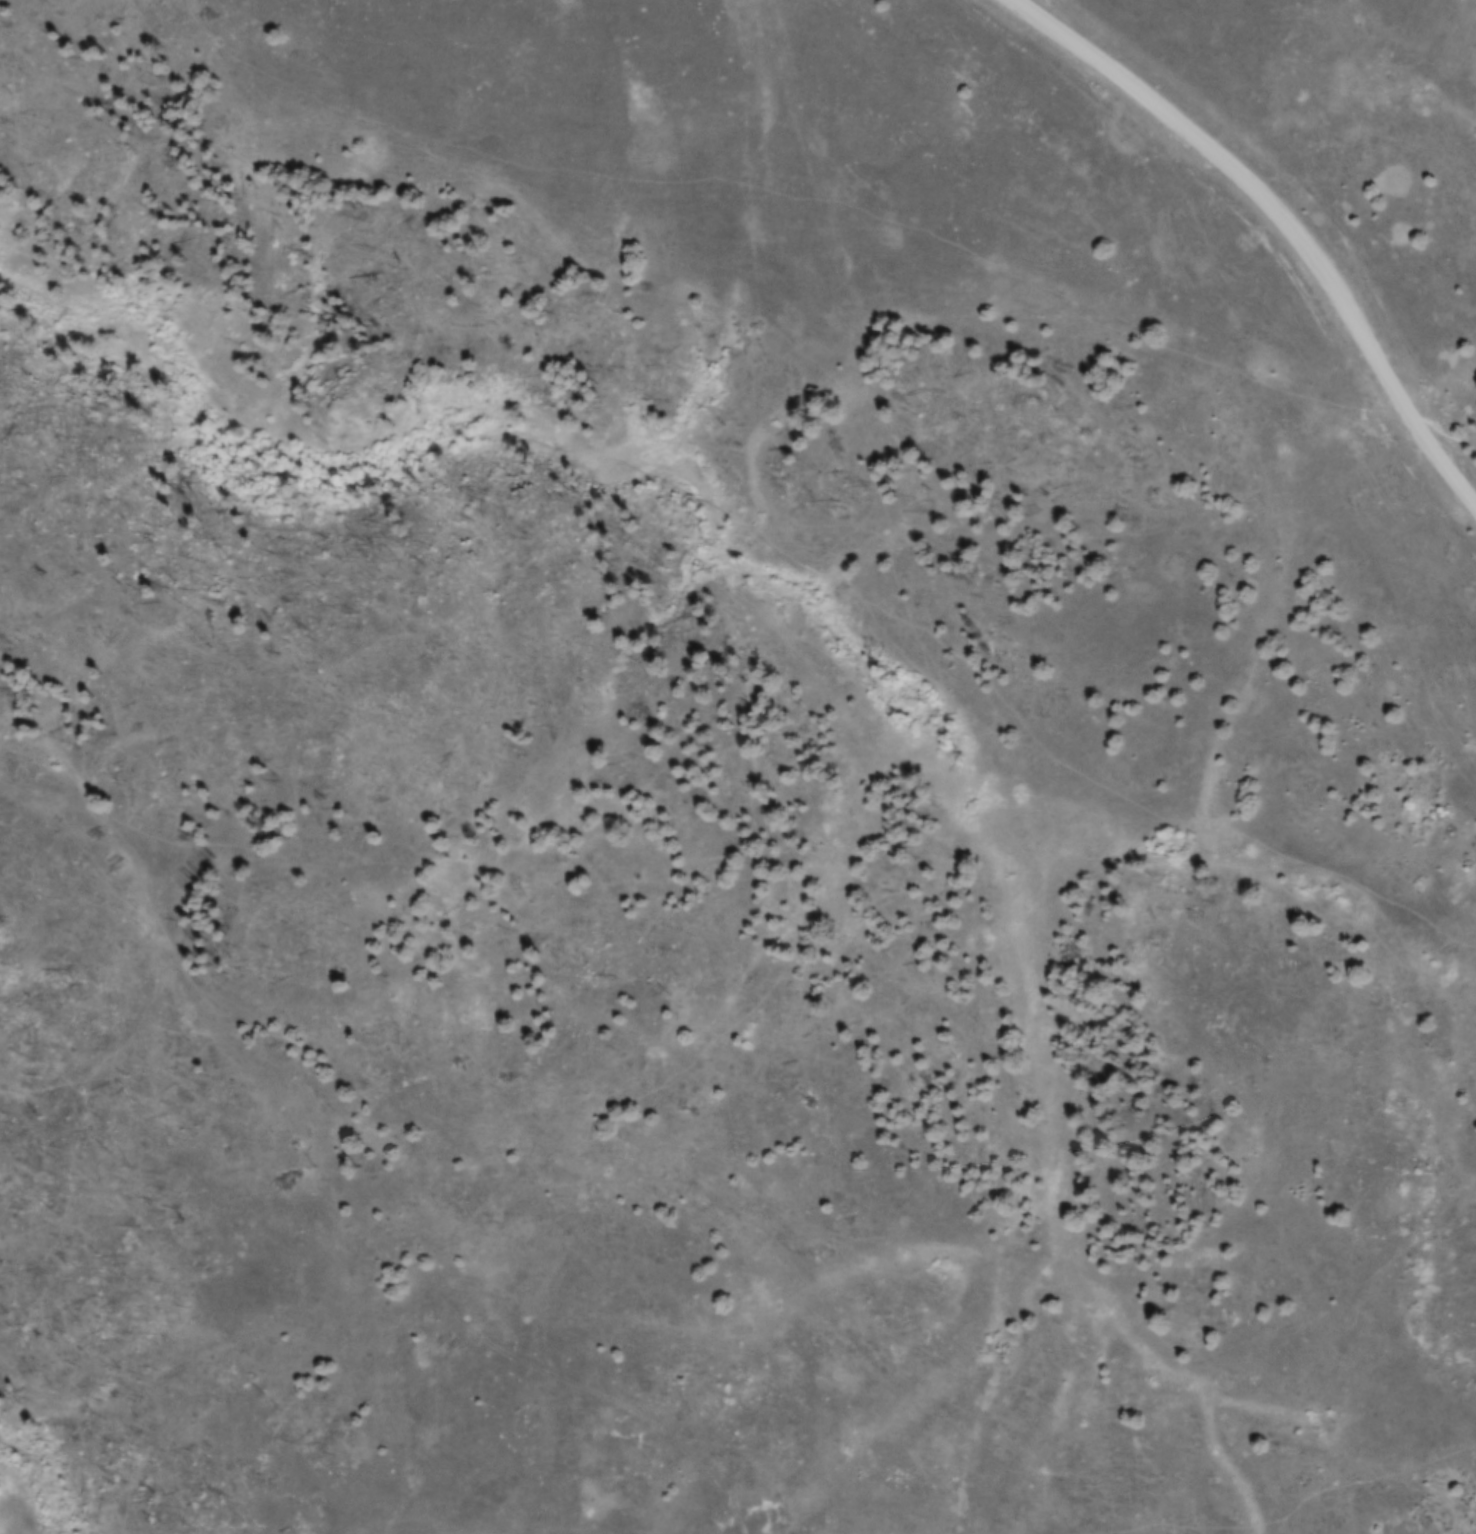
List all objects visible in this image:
road: (1280, 217)

